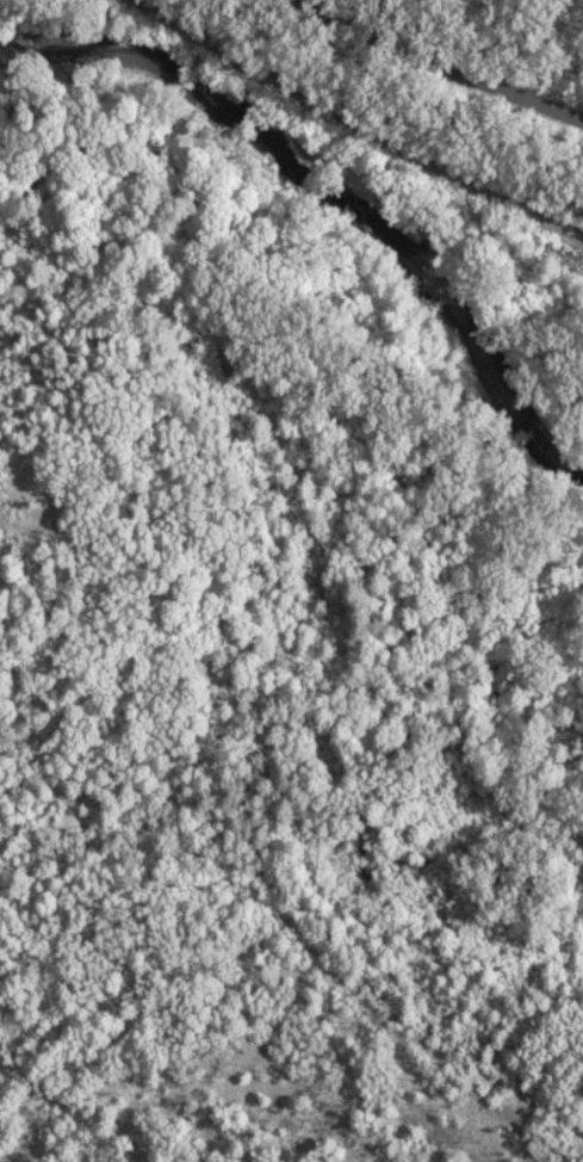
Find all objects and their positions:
road: (454, 64)
road: (368, 119)
railway: (575, 261)

